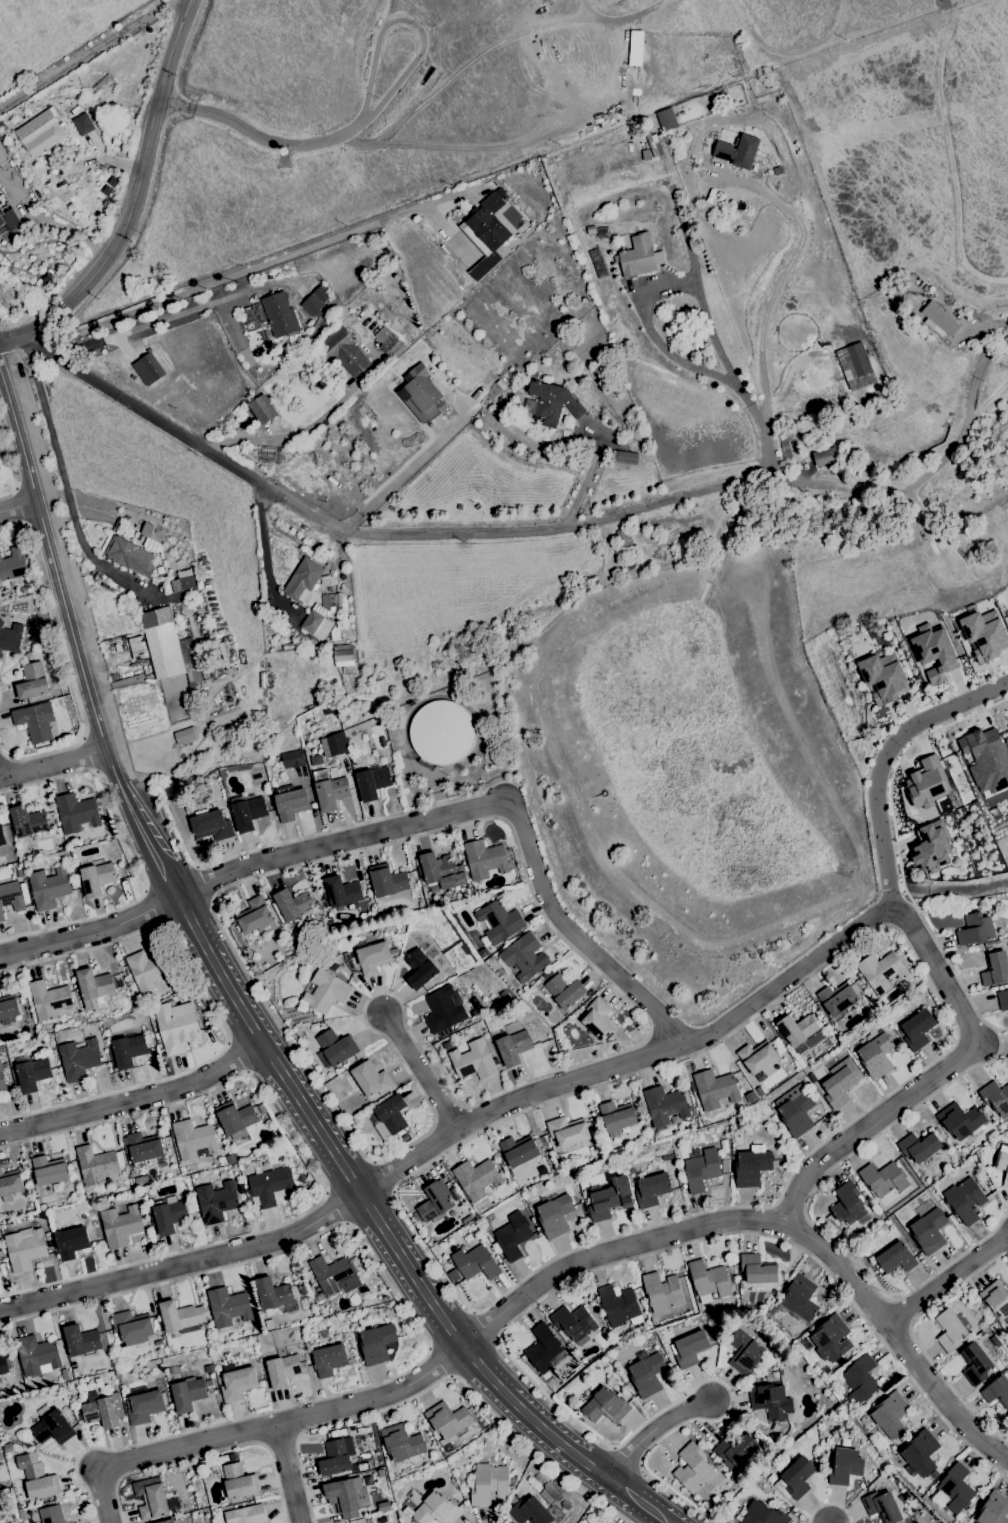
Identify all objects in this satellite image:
road: (392, 10)
road: (189, 41)
road: (92, 49)
road: (410, 66)
road: (170, 102)
road: (175, 105)
building: (82, 124)
building: (41, 130)
road: (329, 140)
building: (737, 151)
building: (2, 156)
road: (151, 182)
road: (134, 199)
building: (9, 220)
building: (491, 222)
building: (637, 257)
road: (253, 269)
road: (782, 275)
building: (925, 289)
building: (314, 301)
road: (642, 312)
building: (279, 314)
building: (939, 320)
building: (387, 341)
building: (345, 351)
building: (858, 360)
building: (147, 369)
building: (420, 393)
building: (553, 403)
building: (261, 409)
road: (302, 431)
building: (785, 448)
building: (626, 458)
building: (826, 458)
road: (11, 465)
road: (407, 468)
road: (589, 473)
road: (62, 479)
road: (921, 480)
road: (18, 507)
road: (20, 507)
road: (402, 534)
building: (841, 534)
building: (129, 555)
building: (12, 568)
building: (302, 580)
building: (182, 581)
road: (58, 585)
building: (319, 617)
building: (984, 634)
building: (11, 638)
building: (168, 647)
building: (137, 648)
building: (934, 651)
building: (343, 658)
road: (66, 663)
building: (882, 678)
building: (33, 682)
building: (64, 701)
building: (35, 721)
building: (442, 733)
building: (184, 736)
building: (335, 744)
road: (876, 744)
building: (293, 759)
building: (986, 759)
building: (316, 760)
road: (885, 761)
road: (53, 764)
road: (895, 764)
road: (436, 779)
building: (374, 783)
building: (926, 784)
building: (329, 790)
building: (290, 802)
road: (491, 806)
building: (248, 812)
building: (77, 814)
building: (28, 822)
building: (212, 826)
road: (535, 831)
building: (2, 838)
road: (150, 845)
building: (930, 848)
road: (131, 857)
building: (485, 860)
building: (442, 871)
building: (97, 878)
building: (387, 881)
road: (202, 884)
building: (49, 888)
building: (341, 892)
building: (11, 898)
building: (422, 903)
building: (293, 904)
building: (457, 905)
road: (152, 908)
building: (256, 919)
building: (498, 923)
road: (194, 926)
building: (332, 926)
road: (90, 930)
building: (976, 930)
building: (372, 957)
building: (522, 957)
building: (350, 965)
building: (332, 966)
building: (420, 969)
building: (995, 969)
building: (149, 970)
building: (881, 972)
building: (548, 975)
road: (941, 976)
building: (93, 987)
building: (565, 991)
building: (326, 992)
building: (838, 999)
building: (49, 1000)
road: (235, 1000)
building: (1003, 1000)
building: (8, 1009)
building: (444, 1011)
building: (103, 1012)
building: (94, 1017)
road: (213, 1017)
building: (599, 1021)
building: (830, 1022)
building: (177, 1027)
building: (40, 1030)
building: (798, 1030)
building: (917, 1030)
road: (952, 1044)
building: (447, 1046)
building: (513, 1048)
building: (335, 1049)
building: (128, 1050)
building: (876, 1055)
building: (757, 1057)
road: (238, 1058)
building: (80, 1059)
building: (474, 1061)
road: (279, 1069)
road: (424, 1072)
building: (31, 1073)
building: (2, 1080)
building: (371, 1080)
building: (819, 1086)
building: (839, 1087)
road: (512, 1089)
building: (715, 1090)
building: (996, 1099)
road: (135, 1103)
building: (665, 1105)
building: (261, 1109)
building: (795, 1110)
building: (389, 1115)
building: (236, 1117)
building: (598, 1117)
building: (617, 1117)
building: (961, 1121)
road: (315, 1123)
building: (568, 1131)
road: (454, 1133)
building: (194, 1139)
building: (920, 1146)
building: (142, 1148)
road: (858, 1149)
building: (519, 1151)
building: (785, 1155)
building: (667, 1158)
building: (230, 1159)
building: (1002, 1163)
building: (98, 1164)
building: (725, 1166)
road: (310, 1168)
building: (751, 1168)
building: (701, 1169)
building: (49, 1170)
road: (349, 1176)
road: (383, 1178)
building: (476, 1178)
building: (883, 1179)
building: (125, 1180)
building: (141, 1180)
building: (683, 1184)
building: (10, 1185)
building: (271, 1186)
building: (240, 1188)
building: (652, 1190)
building: (609, 1199)
building: (965, 1200)
building: (216, 1201)
building: (435, 1203)
building: (849, 1205)
building: (43, 1207)
road: (335, 1207)
building: (81, 1216)
building: (169, 1216)
road: (374, 1216)
building: (416, 1216)
building: (555, 1216)
road: (738, 1219)
building: (44, 1222)
building: (120, 1226)
building: (929, 1231)
building: (47, 1235)
building: (513, 1236)
building: (71, 1243)
building: (25, 1248)
building: (896, 1258)
building: (475, 1263)
building: (758, 1270)
road: (410, 1272)
building: (335, 1276)
building: (709, 1281)
road: (950, 1283)
building: (302, 1290)
building: (744, 1290)
building: (318, 1291)
building: (662, 1292)
building: (274, 1294)
building: (996, 1298)
building: (799, 1299)
road: (539, 1301)
building: (619, 1306)
building: (228, 1307)
building: (753, 1308)
building: (773, 1311)
building: (994, 1315)
building: (181, 1316)
building: (817, 1318)
building: (655, 1320)
road: (410, 1321)
building: (270, 1324)
building: (574, 1324)
building: (132, 1327)
road: (483, 1327)
road: (450, 1330)
building: (950, 1331)
building: (323, 1335)
building: (343, 1336)
road: (899, 1338)
building: (832, 1339)
building: (81, 1341)
road: (915, 1341)
building: (158, 1343)
building: (377, 1344)
building: (543, 1349)
building: (690, 1349)
building: (666, 1352)
building: (745, 1353)
building: (37, 1356)
building: (329, 1360)
building: (78, 1361)
road: (438, 1362)
building: (975, 1364)
building: (4, 1365)
road: (482, 1368)
building: (209, 1369)
building: (172, 1370)
building: (283, 1370)
building: (647, 1374)
building: (64, 1375)
building: (774, 1375)
building: (756, 1376)
building: (768, 1376)
road: (441, 1379)
building: (860, 1379)
building: (237, 1381)
building: (164, 1383)
building: (208, 1385)
building: (628, 1385)
building: (621, 1391)
building: (997, 1392)
building: (188, 1394)
building: (769, 1401)
building: (1, 1406)
building: (145, 1406)
building: (605, 1406)
building: (102, 1410)
building: (890, 1415)
building: (80, 1417)
building: (448, 1419)
road: (533, 1421)
building: (52, 1426)
road: (259, 1427)
road: (652, 1431)
road: (298, 1436)
building: (334, 1436)
road: (281, 1439)
building: (902, 1439)
building: (33, 1442)
building: (845, 1443)
building: (403, 1444)
road: (265, 1446)
building: (448, 1447)
road: (613, 1448)
building: (736, 1449)
building: (921, 1453)
road: (208, 1454)
building: (335, 1458)
road: (626, 1458)
building: (232, 1459)
building: (14, 1460)
road: (640, 1466)
road: (591, 1467)
building: (845, 1467)
building: (694, 1469)
road: (288, 1472)
building: (381, 1473)
road: (108, 1474)
building: (795, 1479)
road: (118, 1481)
building: (38, 1482)
building: (239, 1482)
building: (489, 1483)
building: (871, 1488)
building: (956, 1488)
building: (347, 1494)
building: (156, 1502)
road: (639, 1502)
road: (829, 1503)
building: (384, 1507)
building: (882, 1507)
building: (994, 1509)
building: (436, 1510)
building: (529, 1511)
building: (51, 1514)
building: (247, 1515)
building: (760, 1515)
building: (179, 1521)

